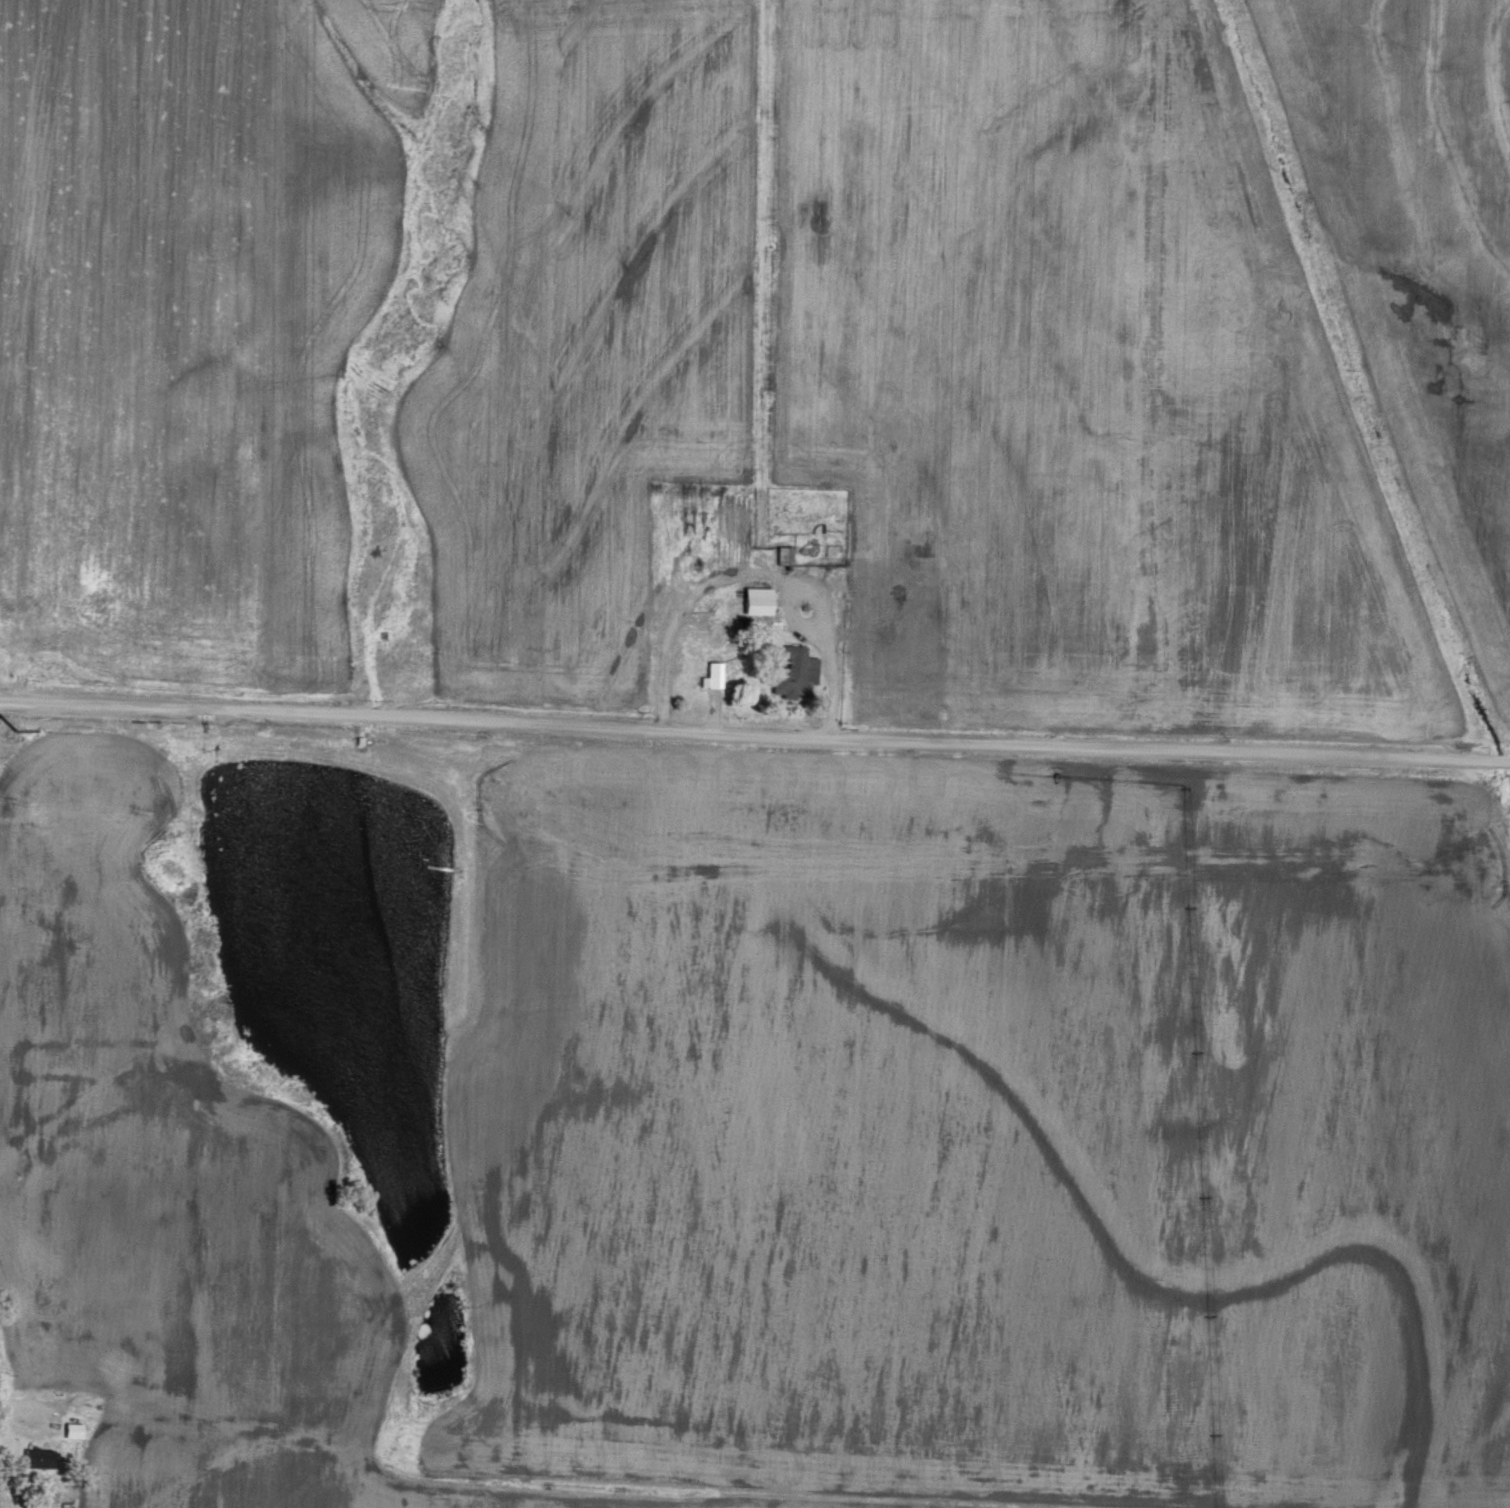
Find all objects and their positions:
building: (784, 553)
building: (756, 599)
road: (832, 655)
building: (795, 671)
building: (712, 674)
road: (754, 735)
road: (1, 1403)
road: (40, 1406)

